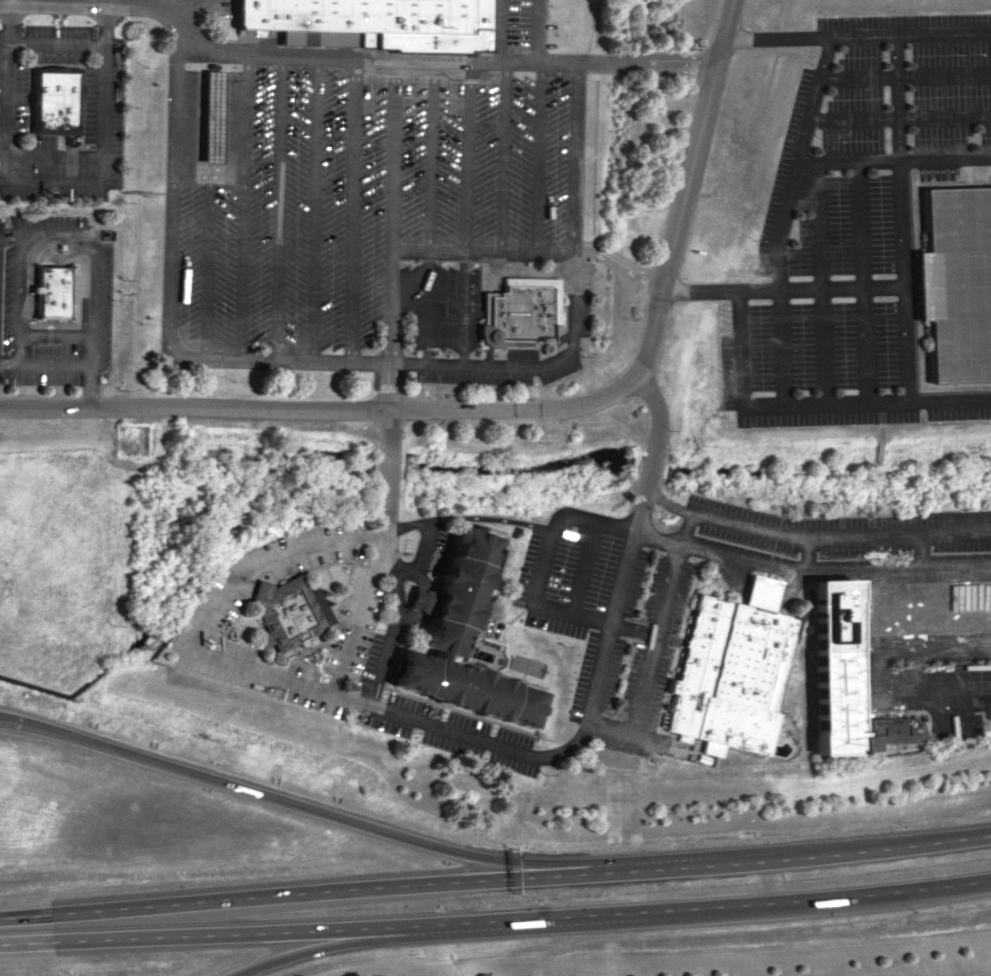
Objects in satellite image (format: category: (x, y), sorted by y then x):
road: (105, 1)
road: (181, 7)
building: (369, 24)
road: (495, 31)
road: (536, 31)
road: (945, 32)
road: (724, 33)
road: (866, 34)
road: (778, 36)
road: (57, 47)
road: (352, 65)
road: (906, 77)
road: (899, 98)
building: (51, 103)
road: (176, 105)
road: (900, 118)
building: (207, 119)
gas station: (207, 119)
road: (500, 158)
road: (537, 158)
road: (53, 159)
road: (946, 160)
road: (464, 161)
road: (850, 163)
road: (206, 174)
road: (53, 184)
road: (242, 207)
road: (278, 208)
road: (311, 209)
road: (351, 214)
road: (390, 216)
road: (428, 216)
road: (786, 218)
road: (902, 223)
road: (482, 253)
road: (95, 257)
road: (618, 263)
road: (169, 264)
road: (205, 266)
road: (820, 282)
road: (862, 282)
building: (955, 284)
road: (820, 287)
road: (700, 290)
building: (51, 293)
road: (461, 308)
building: (516, 313)
road: (905, 343)
road: (18, 358)
road: (514, 364)
road: (9, 366)
road: (387, 386)
road: (807, 405)
road: (481, 407)
road: (879, 422)
road: (656, 430)
road: (384, 470)
road: (875, 471)
road: (489, 519)
road: (871, 520)
road: (811, 540)
road: (921, 552)
road: (726, 554)
road: (263, 561)
road: (581, 569)
road: (402, 574)
road: (390, 576)
road: (417, 597)
building: (283, 613)
road: (358, 613)
road: (594, 621)
road: (660, 623)
building: (457, 641)
road: (936, 654)
building: (733, 674)
building: (833, 674)
road: (926, 681)
road: (966, 690)
road: (978, 705)
road: (902, 707)
road: (624, 731)
road: (505, 749)
road: (277, 799)
road: (496, 879)
road: (496, 916)
road: (307, 951)

